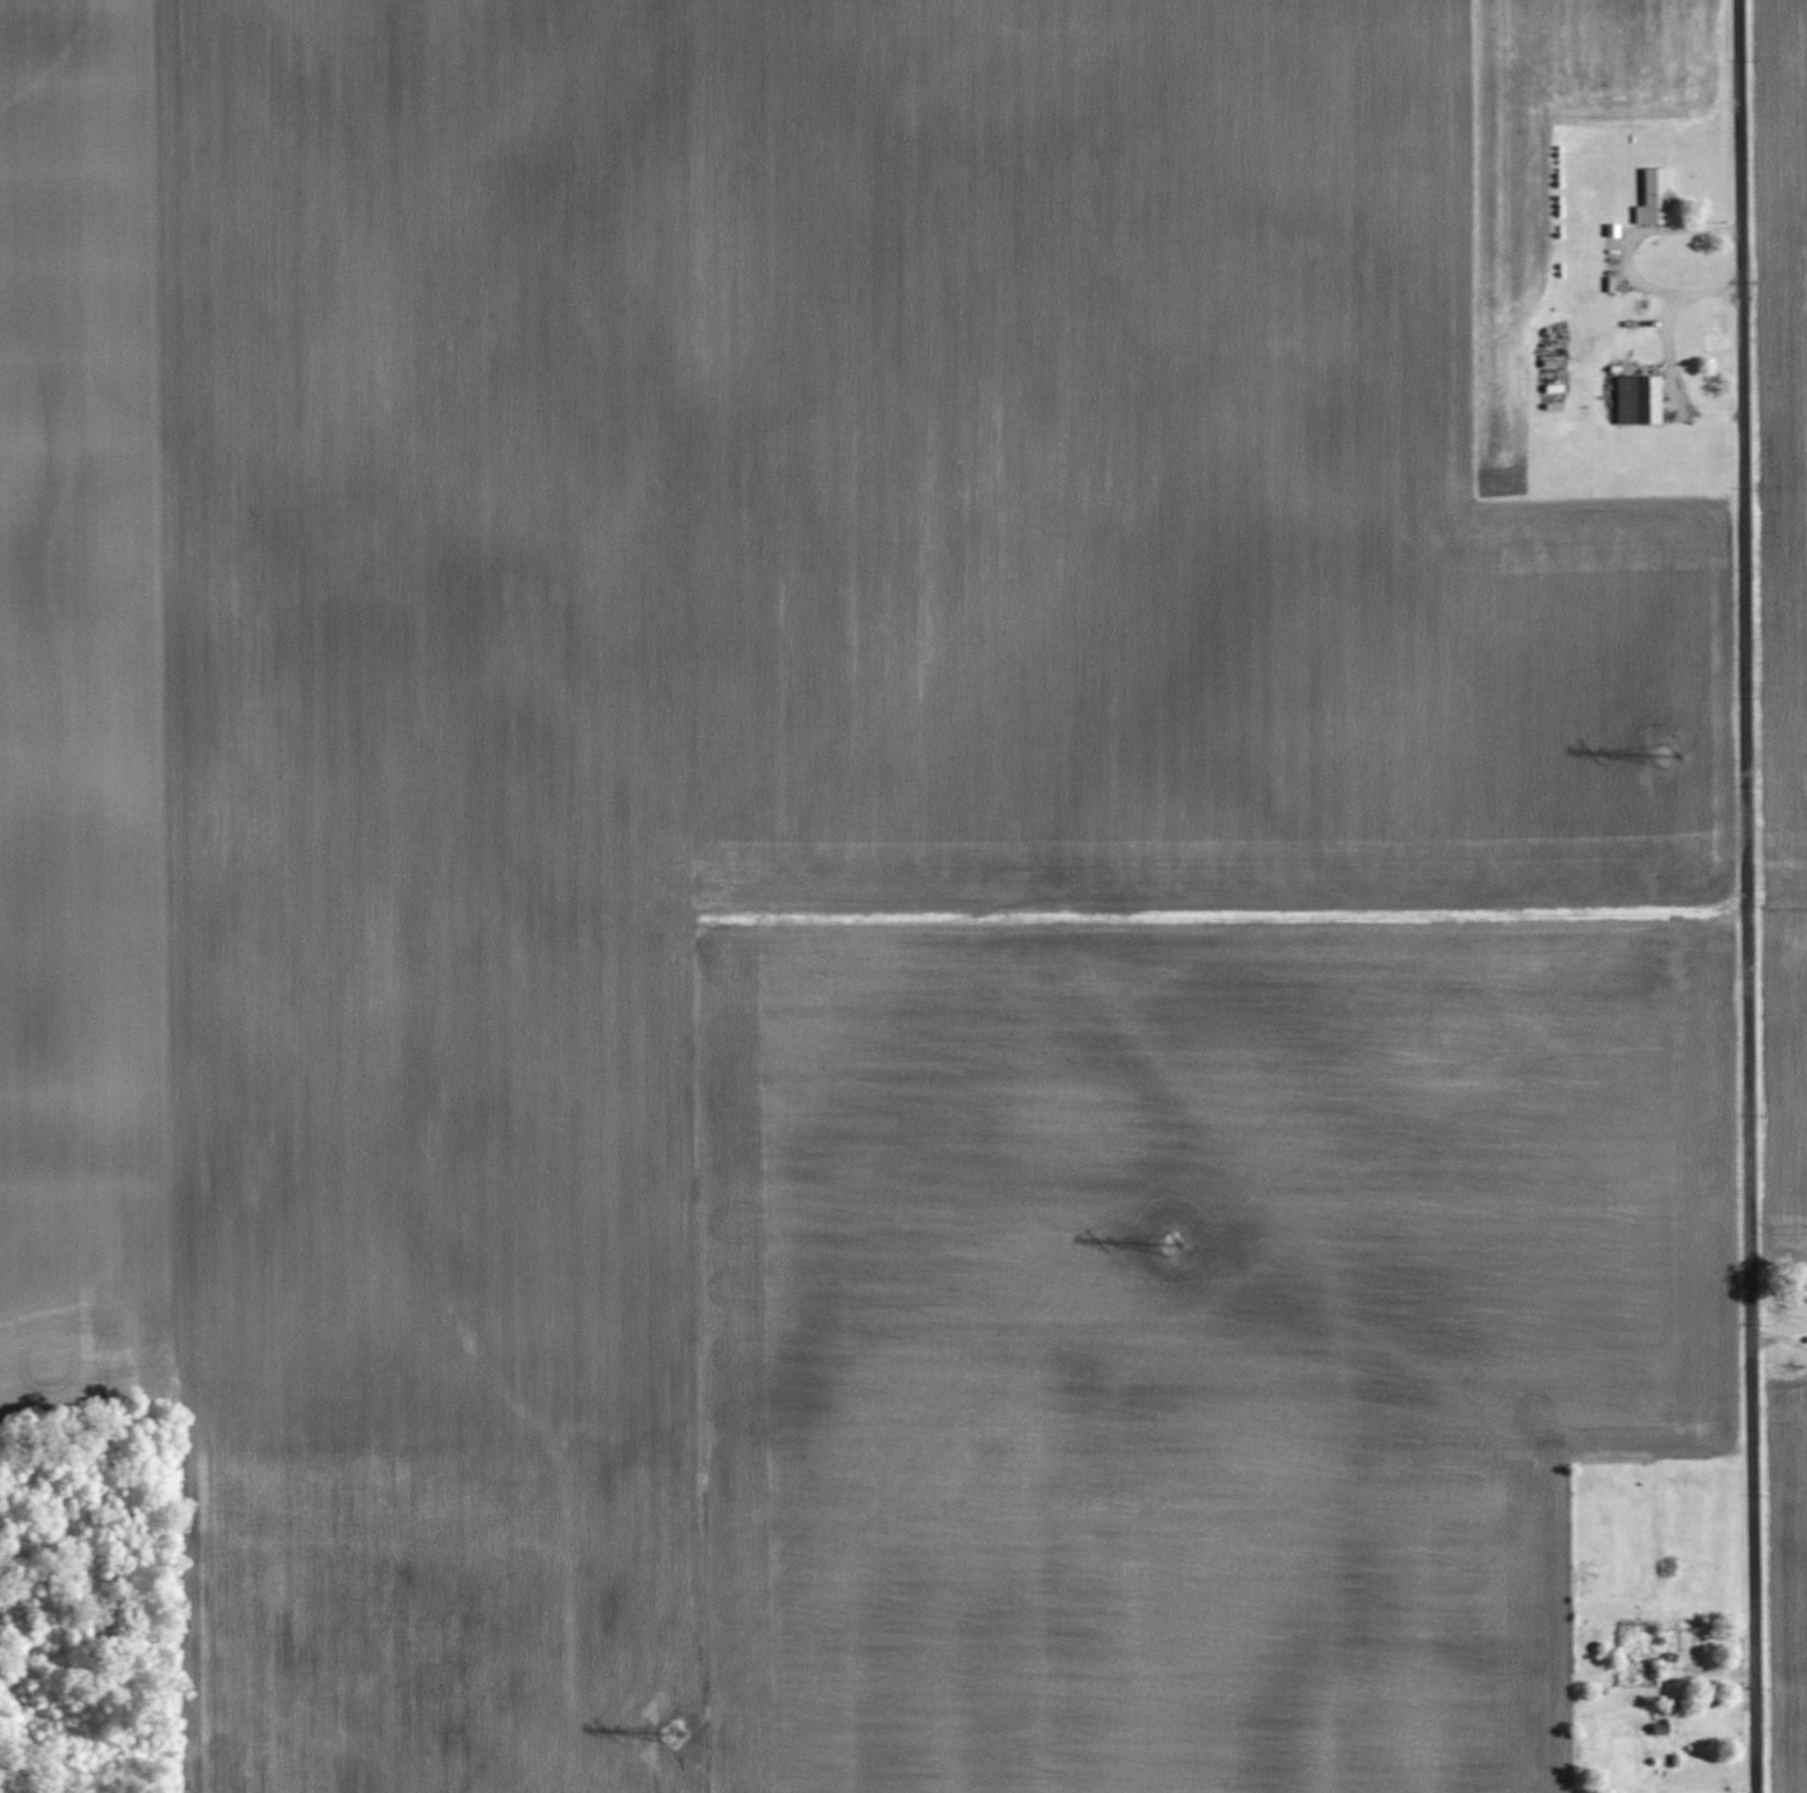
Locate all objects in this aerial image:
building: (1653, 197)
building: (1559, 330)
building: (1552, 361)
building: (1634, 400)
power tower: (1667, 754)
road: (1749, 896)
power tower: (1169, 1237)
power tower: (674, 1730)

